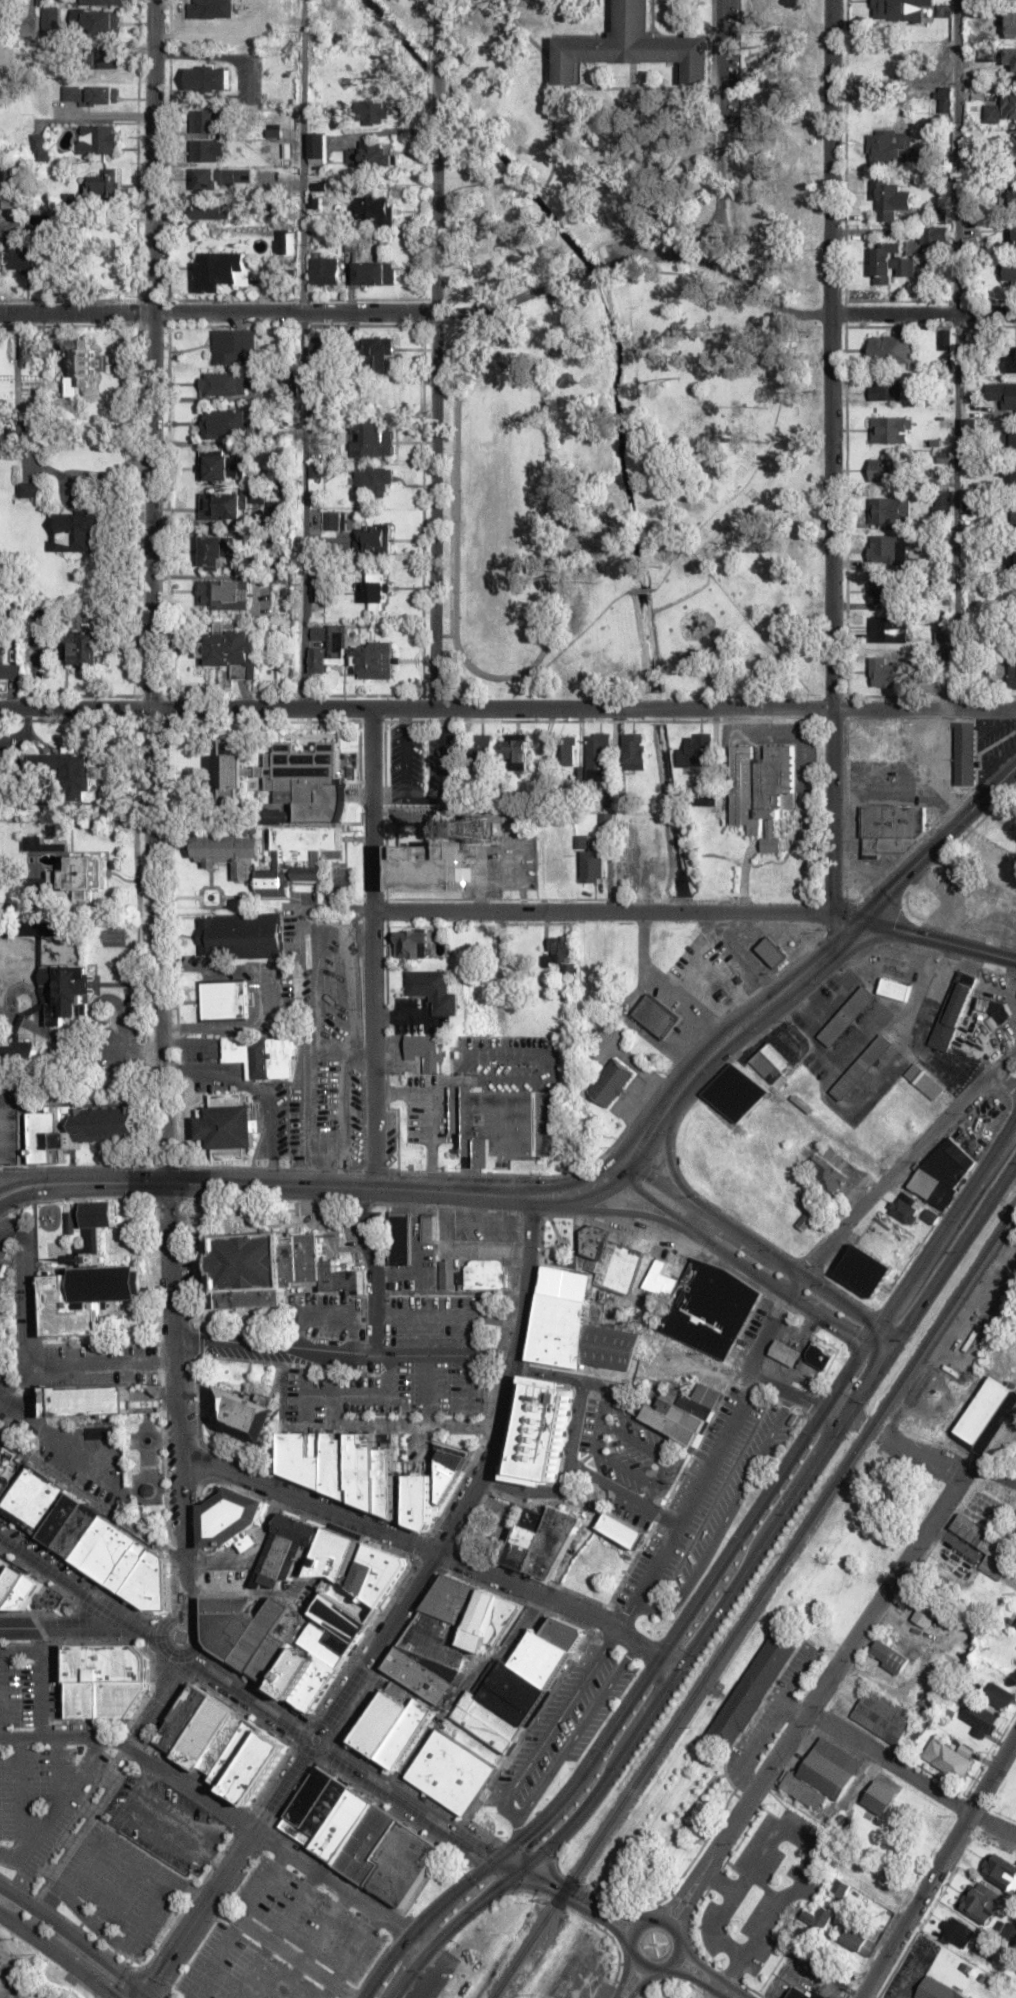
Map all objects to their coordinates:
building: (101, 2)
building: (900, 9)
building: (210, 10)
building: (50, 18)
building: (95, 21)
building: (1010, 23)
building: (632, 46)
building: (103, 59)
building: (1010, 60)
building: (208, 78)
building: (103, 94)
building: (946, 102)
building: (1002, 109)
building: (372, 112)
building: (204, 121)
building: (98, 139)
building: (39, 146)
building: (317, 147)
building: (891, 148)
building: (205, 150)
building: (1014, 150)
building: (371, 155)
building: (11, 171)
building: (221, 177)
building: (104, 183)
building: (1013, 195)
building: (890, 198)
building: (376, 209)
building: (208, 210)
building: (935, 236)
building: (1014, 236)
building: (352, 246)
building: (28, 258)
building: (896, 260)
road: (594, 265)
building: (220, 269)
building: (324, 270)
building: (1010, 271)
building: (374, 273)
road: (802, 312)
road: (297, 314)
building: (232, 345)
building: (319, 345)
building: (893, 349)
building: (29, 352)
road: (150, 354)
road: (302, 354)
building: (378, 354)
road: (435, 354)
road: (956, 355)
building: (1012, 359)
building: (81, 366)
building: (223, 384)
building: (885, 390)
building: (1003, 394)
building: (224, 423)
building: (891, 429)
building: (1012, 436)
building: (371, 439)
building: (217, 466)
road: (832, 466)
road: (754, 468)
building: (887, 469)
building: (1008, 472)
building: (316, 477)
building: (373, 480)
building: (27, 489)
park: (634, 493)
building: (941, 503)
road: (668, 505)
building: (222, 506)
building: (890, 510)
building: (1013, 514)
building: (325, 519)
building: (78, 531)
building: (376, 537)
building: (881, 547)
building: (215, 552)
building: (1012, 558)
building: (376, 589)
building: (885, 589)
road: (641, 590)
building: (217, 594)
building: (1015, 600)
building: (888, 629)
road: (544, 642)
road: (565, 645)
building: (85, 647)
building: (231, 651)
building: (318, 659)
building: (371, 659)
building: (9, 669)
building: (885, 672)
building: (1012, 676)
road: (416, 708)
road: (924, 711)
building: (481, 746)
building: (566, 749)
building: (696, 750)
building: (517, 751)
building: (632, 751)
building: (965, 753)
building: (597, 757)
building: (71, 770)
road: (383, 773)
building: (285, 777)
building: (760, 790)
building: (276, 815)
building: (604, 821)
building: (890, 829)
building: (45, 842)
road: (937, 842)
building: (272, 855)
building: (591, 865)
building: (430, 867)
building: (80, 875)
road: (210, 875)
road: (479, 882)
fountain: (210, 896)
road: (177, 897)
road: (259, 897)
road: (216, 907)
road: (615, 912)
traffic signals: (860, 919)
building: (40, 927)
building: (239, 935)
road: (938, 938)
building: (411, 943)
road: (371, 947)
building: (771, 952)
building: (561, 953)
building: (894, 989)
building: (433, 990)
building: (66, 992)
road: (499, 992)
building: (224, 1000)
building: (31, 1011)
building: (952, 1011)
building: (654, 1015)
building: (847, 1016)
road: (734, 1032)
building: (10, 1050)
building: (426, 1050)
building: (261, 1056)
building: (769, 1063)
building: (862, 1067)
building: (924, 1081)
building: (610, 1082)
building: (735, 1092)
building: (504, 1122)
building: (55, 1124)
building: (226, 1126)
road: (905, 1160)
road: (669, 1165)
road: (166, 1168)
building: (942, 1172)
building: (828, 1174)
road: (40, 1178)
road: (18, 1179)
traffic signals: (167, 1182)
road: (359, 1185)
road: (40, 1192)
road: (654, 1203)
building: (903, 1207)
road: (633, 1213)
building: (804, 1222)
building: (70, 1223)
building: (427, 1227)
road: (707, 1227)
building: (94, 1230)
building: (399, 1237)
building: (591, 1243)
road: (763, 1251)
building: (250, 1270)
building: (860, 1270)
building: (473, 1274)
building: (653, 1277)
road: (793, 1286)
building: (87, 1298)
road: (790, 1298)
building: (708, 1309)
building: (560, 1316)
road: (766, 1332)
road: (345, 1351)
building: (785, 1352)
building: (1010, 1353)
building: (819, 1355)
gas station: (819, 1355)
road: (794, 1395)
building: (86, 1400)
building: (683, 1413)
building: (243, 1414)
building: (985, 1414)
building: (538, 1430)
fountain: (146, 1439)
building: (1, 1448)
building: (343, 1465)
road: (945, 1465)
building: (1, 1469)
park: (143, 1475)
building: (434, 1485)
road: (476, 1489)
road: (92, 1504)
road: (691, 1504)
building: (227, 1517)
park: (491, 1525)
building: (620, 1530)
building: (88, 1539)
building: (541, 1540)
building: (287, 1545)
building: (985, 1546)
road: (435, 1553)
building: (334, 1554)
road: (909, 1560)
building: (375, 1573)
road: (713, 1575)
building: (16, 1586)
road: (79, 1593)
road: (726, 1599)
railway: (755, 1603)
building: (923, 1611)
road: (65, 1626)
building: (1014, 1627)
railway: (744, 1630)
road: (163, 1634)
building: (450, 1634)
building: (284, 1642)
building: (888, 1656)
building: (104, 1680)
road: (462, 1688)
building: (752, 1688)
building: (998, 1696)
road: (253, 1700)
road: (151, 1709)
building: (882, 1716)
building: (493, 1717)
building: (979, 1719)
building: (391, 1725)
parking lot: (560, 1727)
building: (220, 1743)
building: (947, 1756)
building: (822, 1773)
road: (910, 1777)
road: (759, 1786)
road: (283, 1787)
building: (878, 1797)
road: (224, 1814)
road: (447, 1830)
building: (358, 1835)
traffic signals: (494, 1861)
road: (939, 1865)
building: (999, 1872)
traffic signals: (518, 1874)
building: (840, 1888)
road: (681, 1890)
road: (692, 1897)
building: (981, 1902)
road: (615, 1912)
road: (191, 1913)
road: (228, 1916)
building: (818, 1917)
road: (203, 1918)
road: (608, 1927)
building: (956, 1932)
building: (1009, 1932)
road: (677, 1935)
building: (857, 1941)
road: (73, 1942)
road: (54, 1957)
road: (697, 1964)
road: (623, 1977)
road: (688, 1978)
road: (641, 1983)
building: (936, 1990)
building: (817, 1991)
road: (723, 1992)
traffic signals: (140, 1993)
traffic signals: (146, 1997)

